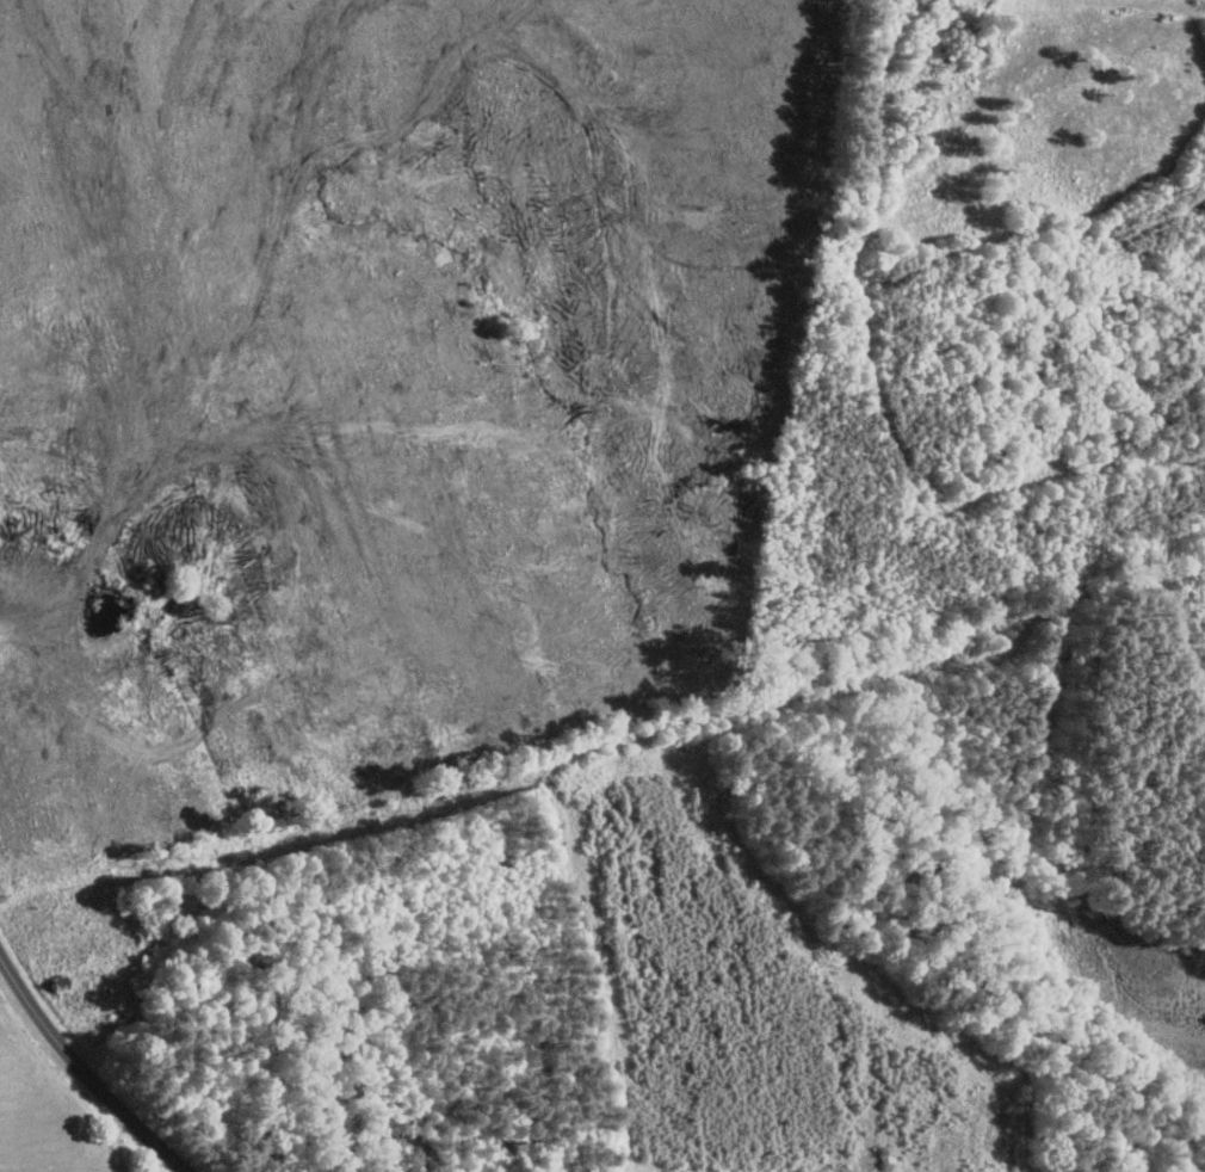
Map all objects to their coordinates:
road: (84, 1066)

